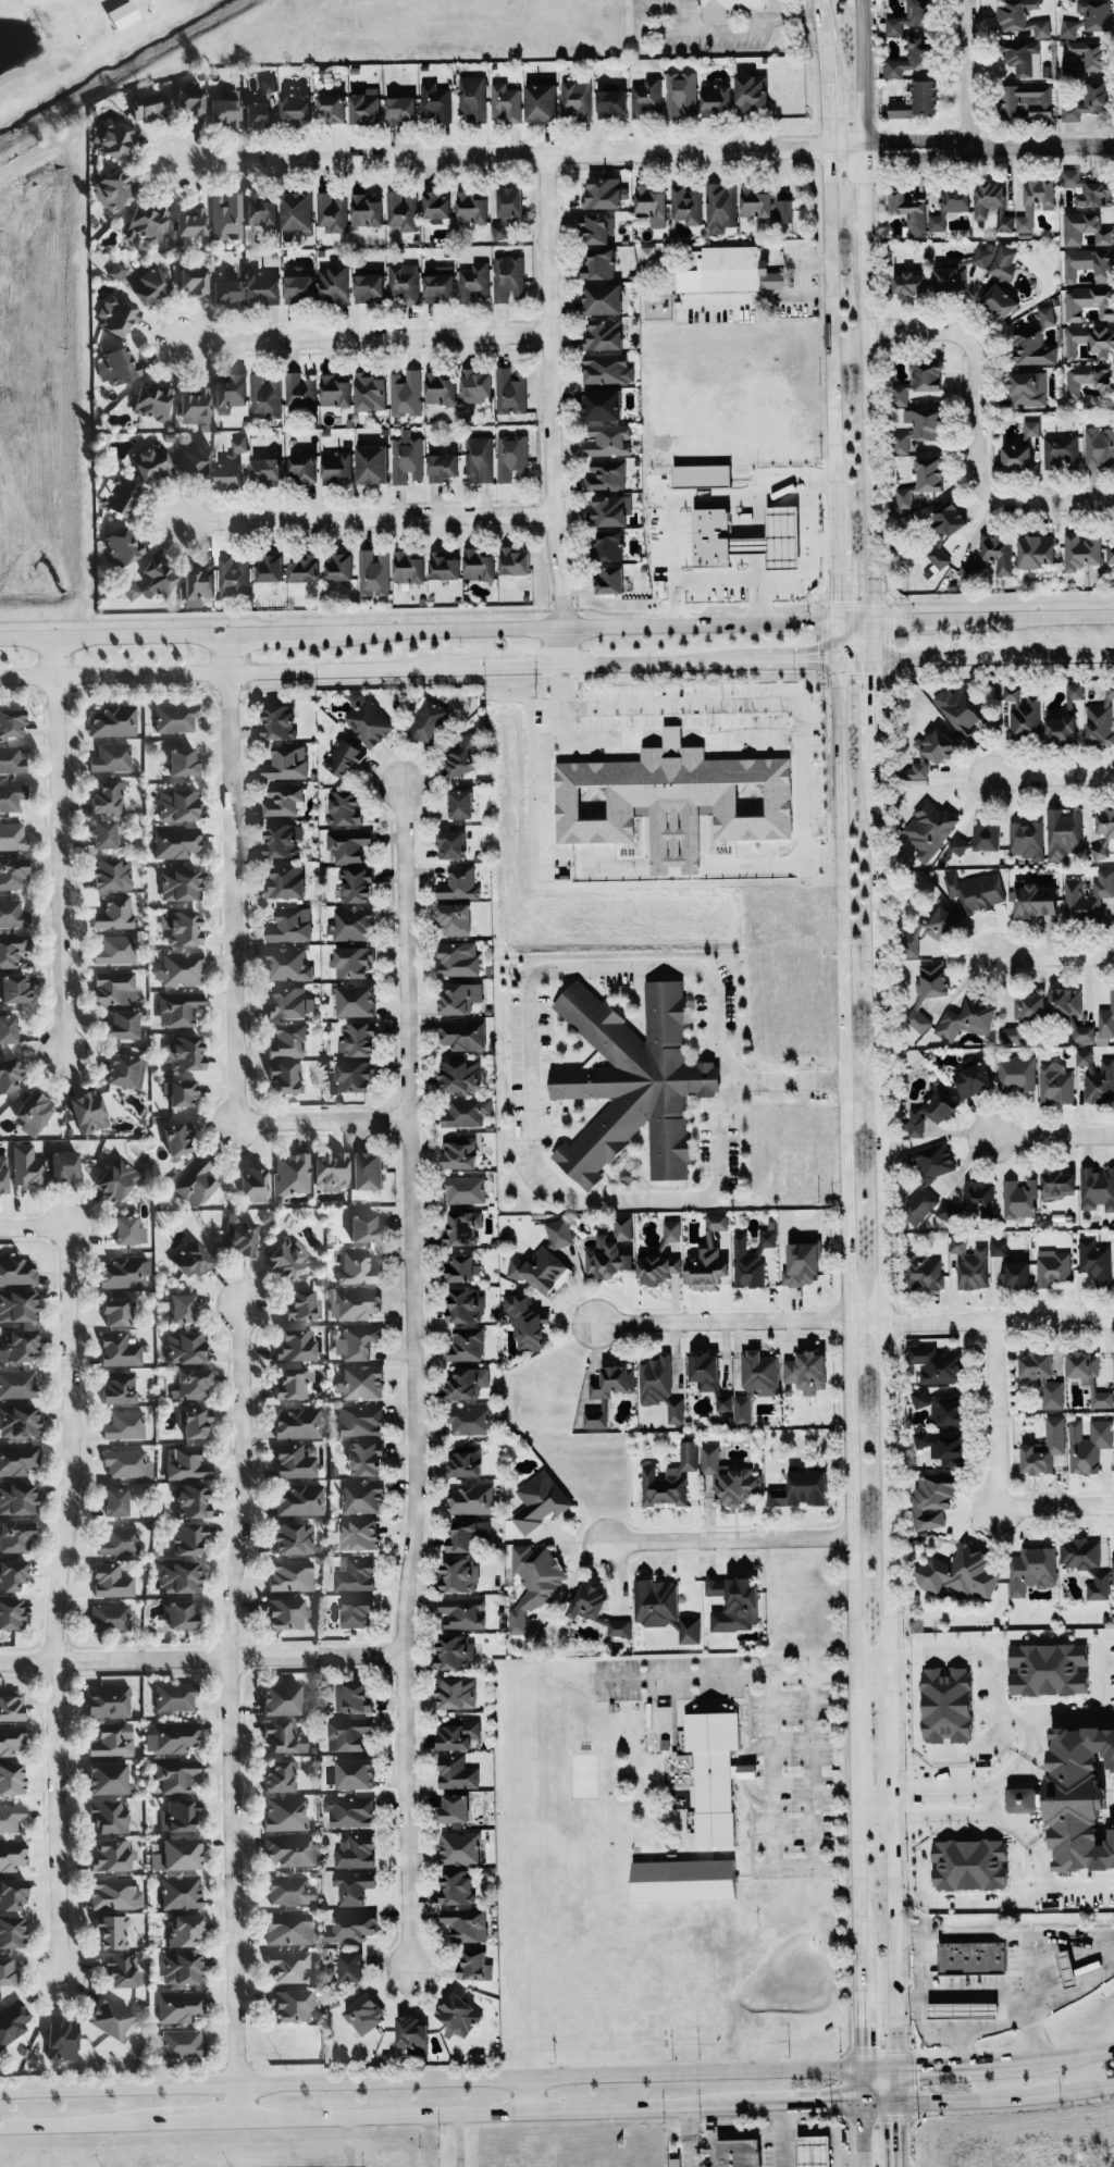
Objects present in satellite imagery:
building: (726, 8)
building: (122, 14)
building: (1020, 17)
building: (1087, 17)
building: (909, 18)
road: (738, 30)
building: (911, 58)
building: (1022, 58)
building: (1086, 58)
road: (970, 70)
road: (862, 73)
building: (267, 84)
building: (681, 94)
building: (577, 98)
building: (647, 98)
building: (471, 99)
building: (716, 99)
building: (916, 100)
building: (189, 101)
building: (1027, 101)
building: (1087, 101)
building: (435, 102)
building: (505, 102)
building: (541, 102)
building: (610, 102)
building: (330, 104)
building: (149, 106)
building: (295, 106)
building: (364, 106)
building: (225, 109)
building: (401, 109)
building: (257, 113)
building: (112, 139)
road: (988, 139)
road: (519, 157)
building: (1085, 188)
building: (113, 189)
building: (604, 191)
building: (1035, 201)
building: (755, 202)
building: (685, 203)
building: (436, 205)
building: (651, 205)
building: (991, 205)
building: (720, 206)
building: (949, 206)
building: (471, 208)
road: (864, 208)
building: (403, 209)
building: (260, 210)
building: (296, 210)
building: (366, 210)
building: (507, 210)
building: (783, 210)
building: (332, 211)
building: (908, 212)
building: (226, 215)
building: (190, 221)
building: (146, 222)
building: (595, 227)
building: (1085, 228)
building: (981, 257)
road: (830, 260)
building: (1003, 262)
building: (598, 263)
building: (1088, 264)
building: (116, 270)
building: (729, 270)
building: (508, 277)
building: (950, 278)
building: (194, 280)
building: (404, 282)
building: (473, 282)
building: (438, 283)
building: (147, 284)
building: (297, 284)
building: (908, 284)
building: (333, 285)
building: (262, 286)
building: (368, 286)
building: (227, 292)
road: (758, 297)
building: (602, 298)
building: (999, 301)
building: (1045, 314)
building: (116, 315)
building: (603, 333)
road: (366, 339)
building: (1089, 339)
building: (1031, 346)
building: (115, 366)
building: (606, 368)
building: (918, 380)
building: (475, 384)
building: (441, 387)
building: (1027, 388)
building: (299, 391)
building: (334, 391)
building: (370, 391)
building: (510, 391)
building: (230, 393)
building: (406, 393)
building: (264, 396)
building: (151, 400)
building: (602, 404)
building: (195, 406)
road: (553, 411)
building: (926, 422)
building: (1030, 429)
road: (975, 431)
building: (607, 439)
building: (901, 442)
road: (867, 444)
building: (1099, 446)
building: (1060, 449)
building: (1016, 456)
building: (511, 457)
building: (479, 458)
building: (197, 459)
building: (407, 459)
building: (151, 461)
building: (371, 462)
building: (234, 465)
building: (302, 467)
building: (336, 467)
building: (442, 467)
building: (269, 470)
building: (606, 474)
building: (921, 481)
road: (812, 505)
building: (608, 510)
road: (369, 515)
building: (608, 544)
building: (122, 545)
building: (1036, 550)
building: (1080, 550)
building: (997, 553)
building: (1110, 553)
building: (513, 561)
building: (479, 565)
building: (444, 566)
building: (339, 567)
building: (408, 567)
building: (269, 568)
building: (305, 568)
road: (835, 570)
building: (373, 572)
building: (968, 572)
building: (233, 577)
building: (608, 580)
road: (748, 580)
building: (149, 581)
building: (198, 585)
road: (764, 602)
road: (992, 618)
road: (593, 626)
road: (273, 632)
road: (115, 634)
road: (871, 639)
road: (993, 655)
road: (854, 659)
road: (799, 661)
road: (661, 665)
road: (506, 668)
road: (224, 673)
building: (1075, 690)
road: (775, 703)
road: (872, 709)
building: (961, 709)
building: (1022, 710)
building: (175, 717)
building: (277, 719)
building: (367, 719)
building: (112, 720)
building: (1101, 720)
building: (429, 721)
building: (11, 722)
building: (1060, 730)
road: (565, 740)
road: (752, 742)
building: (928, 754)
building: (463, 755)
building: (111, 757)
building: (343, 758)
building: (11, 759)
building: (182, 761)
building: (287, 763)
road: (1048, 777)
road: (544, 794)
building: (11, 795)
building: (108, 797)
building: (283, 800)
building: (673, 800)
building: (461, 804)
building: (178, 805)
building: (344, 807)
building: (929, 827)
building: (1062, 833)
building: (1102, 833)
building: (106, 834)
building: (12, 835)
building: (980, 838)
building: (282, 839)
building: (1027, 840)
building: (176, 842)
road: (60, 843)
building: (348, 844)
building: (450, 844)
road: (754, 863)
building: (13, 872)
building: (111, 874)
building: (285, 881)
building: (459, 882)
building: (180, 884)
building: (356, 884)
building: (975, 891)
building: (1087, 895)
building: (1033, 899)
building: (114, 913)
building: (12, 914)
building: (454, 918)
building: (352, 922)
building: (290, 924)
building: (182, 927)
building: (931, 929)
building: (12, 949)
building: (115, 950)
road: (1054, 955)
building: (458, 958)
building: (352, 961)
road: (236, 962)
building: (285, 963)
building: (181, 968)
building: (931, 980)
building: (14, 988)
building: (113, 988)
building: (459, 998)
building: (356, 1000)
building: (1065, 1001)
building: (289, 1003)
building: (178, 1008)
building: (1024, 1016)
building: (1106, 1018)
building: (918, 1019)
building: (967, 1019)
building: (123, 1024)
building: (8, 1028)
building: (1084, 1032)
building: (462, 1033)
building: (357, 1039)
building: (287, 1040)
building: (184, 1052)
building: (1084, 1056)
building: (124, 1070)
building: (1016, 1072)
building: (9, 1074)
building: (355, 1075)
building: (460, 1075)
building: (285, 1076)
building: (973, 1079)
building: (632, 1081)
building: (1100, 1082)
building: (1055, 1085)
building: (182, 1092)
building: (88, 1111)
building: (34, 1112)
building: (466, 1112)
building: (930, 1112)
road: (1052, 1132)
building: (177, 1138)
road: (532, 1148)
building: (460, 1152)
building: (64, 1164)
building: (27, 1165)
building: (367, 1169)
building: (330, 1171)
building: (292, 1173)
building: (627, 1175)
building: (927, 1175)
building: (3, 1176)
building: (115, 1179)
building: (196, 1182)
building: (253, 1184)
building: (1056, 1185)
building: (1097, 1188)
building: (465, 1189)
building: (979, 1194)
building: (1019, 1198)
road: (845, 1205)
building: (944, 1212)
road: (880, 1215)
building: (622, 1225)
building: (462, 1227)
building: (363, 1228)
building: (127, 1230)
building: (558, 1233)
building: (238, 1236)
building: (998, 1247)
building: (1113, 1247)
building: (707, 1256)
building: (287, 1258)
building: (660, 1258)
building: (606, 1259)
building: (751, 1259)
building: (191, 1260)
building: (1094, 1260)
building: (801, 1262)
building: (970, 1264)
building: (1052, 1266)
building: (461, 1267)
building: (357, 1268)
building: (540, 1270)
building: (16, 1271)
building: (124, 1272)
building: (924, 1273)
building: (1015, 1274)
building: (354, 1302)
building: (301, 1304)
building: (465, 1304)
building: (17, 1305)
building: (182, 1308)
building: (116, 1311)
road: (857, 1318)
building: (525, 1322)
building: (357, 1341)
building: (466, 1342)
building: (18, 1345)
building: (295, 1345)
building: (185, 1348)
building: (120, 1349)
building: (937, 1365)
building: (704, 1371)
building: (806, 1371)
road: (417, 1376)
building: (1089, 1376)
building: (1042, 1377)
building: (360, 1382)
building: (755, 1382)
building: (191, 1383)
building: (293, 1383)
building: (467, 1383)
building: (17, 1384)
building: (659, 1385)
building: (119, 1387)
building: (607, 1392)
building: (723, 1402)
building: (939, 1406)
building: (360, 1420)
building: (469, 1420)
building: (18, 1421)
building: (194, 1421)
building: (298, 1423)
road: (1000, 1423)
building: (124, 1425)
building: (1088, 1444)
building: (939, 1446)
building: (1044, 1448)
building: (366, 1458)
building: (17, 1459)
building: (296, 1460)
building: (465, 1461)
building: (127, 1463)
building: (669, 1478)
building: (730, 1478)
building: (189, 1481)
building: (801, 1489)
building: (362, 1497)
building: (471, 1498)
building: (17, 1499)
building: (300, 1499)
building: (540, 1500)
building: (932, 1500)
building: (115, 1501)
road: (1070, 1504)
building: (359, 1534)
building: (467, 1534)
building: (15, 1536)
building: (188, 1538)
building: (293, 1538)
road: (727, 1539)
building: (119, 1540)
building: (1079, 1552)
road: (61, 1565)
building: (1031, 1570)
building: (1113, 1570)
building: (962, 1573)
building: (12, 1574)
building: (355, 1574)
building: (289, 1575)
building: (458, 1575)
building: (180, 1576)
building: (111, 1580)
building: (533, 1582)
building: (1098, 1586)
building: (734, 1602)
building: (663, 1608)
building: (596, 1609)
building: (356, 1611)
building: (285, 1612)
building: (461, 1612)
building: (11, 1613)
building: (181, 1614)
building: (109, 1617)
building: (454, 1651)
road: (203, 1660)
building: (1048, 1669)
road: (872, 1671)
road: (726, 1676)
road: (1098, 1683)
building: (456, 1693)
road: (995, 1693)
building: (174, 1696)
building: (352, 1697)
building: (281, 1699)
building: (108, 1700)
road: (892, 1701)
building: (11, 1705)
building: (945, 1705)
road: (232, 1707)
building: (457, 1732)
building: (348, 1733)
building: (284, 1735)
building: (172, 1737)
building: (11, 1738)
building: (112, 1739)
road: (1024, 1758)
road: (893, 1761)
road: (810, 1770)
road: (772, 1771)
building: (355, 1772)
building: (456, 1772)
building: (175, 1773)
building: (714, 1773)
building: (280, 1776)
building: (11, 1778)
building: (107, 1778)
road: (943, 1787)
road: (875, 1791)
building: (1078, 1797)
road: (993, 1798)
building: (1022, 1799)
road: (894, 1801)
road: (855, 1803)
building: (454, 1807)
building: (349, 1810)
building: (285, 1812)
road: (875, 1812)
road: (944, 1812)
building: (178, 1816)
building: (11, 1817)
road: (1030, 1840)
building: (459, 1847)
building: (290, 1849)
building: (355, 1850)
building: (11, 1854)
building: (111, 1854)
building: (177, 1854)
building: (969, 1863)
road: (794, 1867)
building: (683, 1879)
road: (857, 1883)
building: (352, 1886)
building: (457, 1886)
building: (289, 1890)
building: (181, 1892)
building: (12, 1893)
building: (114, 1893)
road: (1000, 1900)
building: (465, 1923)
building: (351, 1925)
building: (288, 1928)
building: (184, 1929)
building: (112, 1931)
building: (11, 1932)
road: (894, 1943)
building: (973, 1957)
building: (288, 1966)
building: (182, 1967)
building: (350, 1967)
building: (1066, 1968)
building: (7, 1970)
building: (121, 1970)
road: (919, 1988)
road: (976, 1994)
road: (907, 1999)
building: (290, 2004)
road: (1039, 2005)
building: (180, 2006)
building: (963, 2010)
building: (363, 2013)
building: (458, 2014)
road: (861, 2014)
building: (110, 2017)
building: (12, 2021)
building: (412, 2034)
road: (1030, 2035)
building: (62, 2040)
building: (181, 2043)
road: (958, 2050)
road: (1065, 2055)
road: (956, 2068)
traffic signals: (862, 2075)
road: (879, 2075)
traffic signals: (896, 2075)
road: (862, 2089)
road: (896, 2089)
road: (431, 2091)
road: (1005, 2096)
road: (530, 2100)
traffic signals: (862, 2103)
road: (879, 2103)
traffic signals: (898, 2103)
road: (820, 2104)
road: (506, 2113)
road: (198, 2120)
road: (82, 2122)
road: (693, 2129)
road: (685, 2130)
road: (862, 2134)
road: (898, 2134)
road: (780, 2135)
building: (814, 2151)
building: (739, 2153)
road: (690, 2158)
building: (673, 2162)

